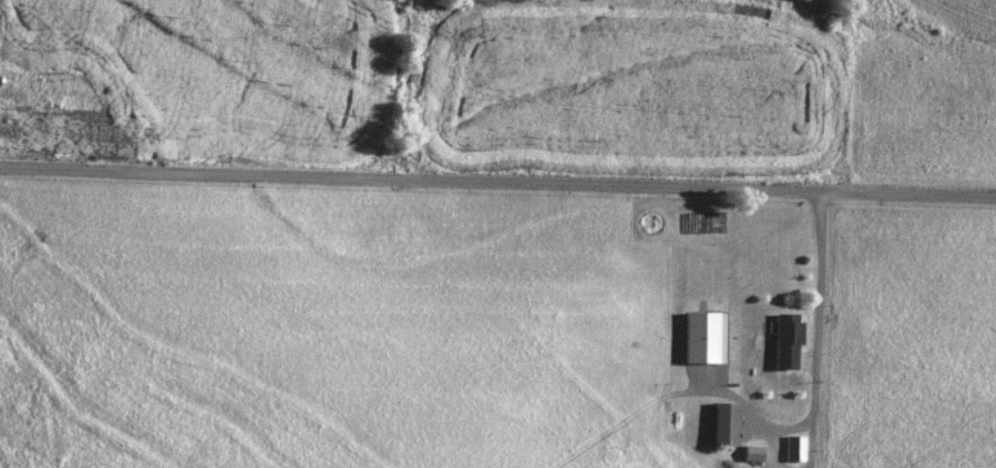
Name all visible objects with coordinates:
road: (498, 185)
road: (816, 308)
building: (786, 343)
building: (724, 425)
road: (777, 436)
road: (811, 445)
building: (794, 450)
building: (753, 455)

